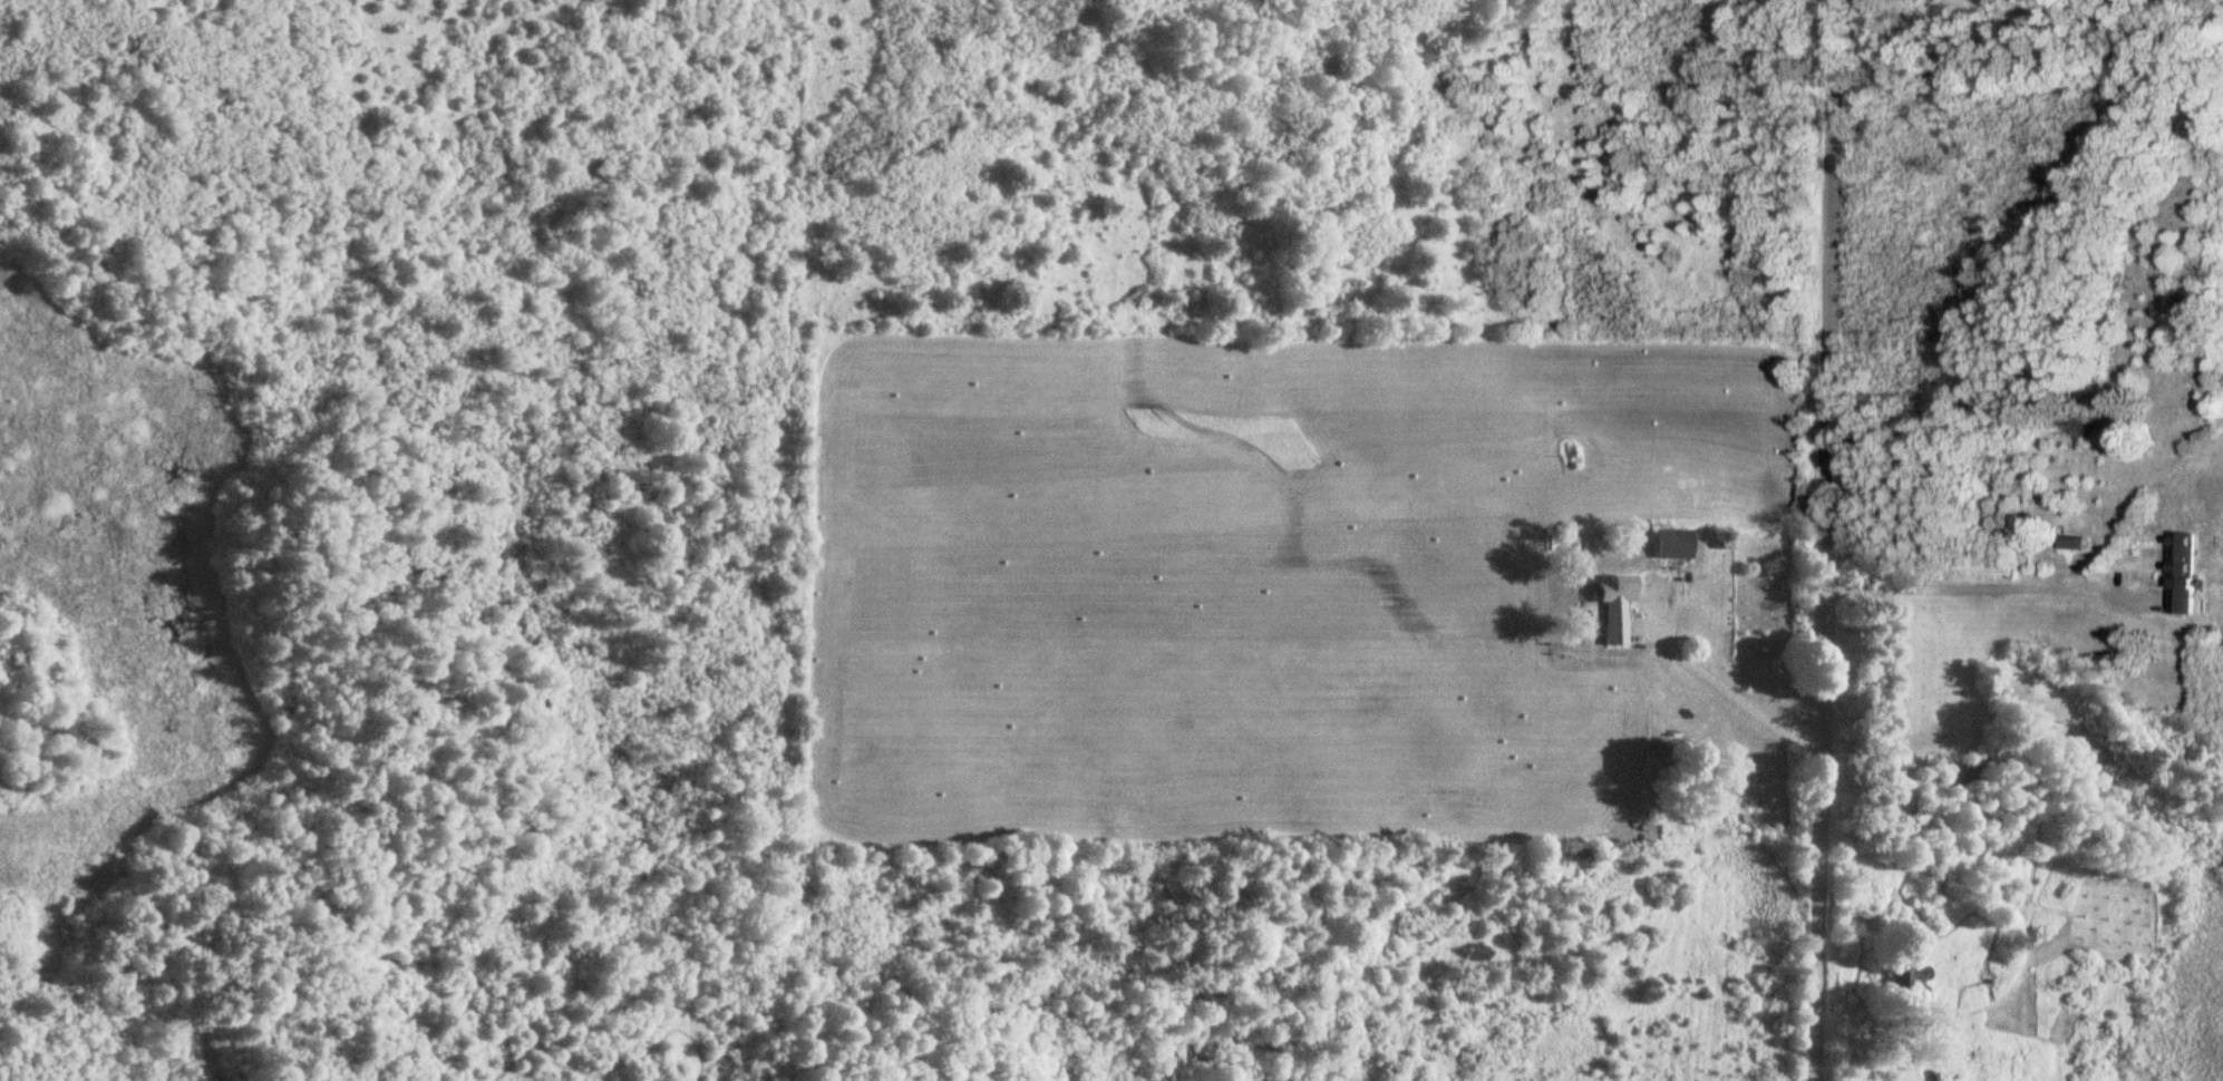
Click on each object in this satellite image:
road: (1827, 540)
building: (2074, 543)
building: (1674, 545)
building: (2183, 573)
building: (1613, 606)
building: (1969, 772)
building: (1477, 954)
building: (1930, 1075)

